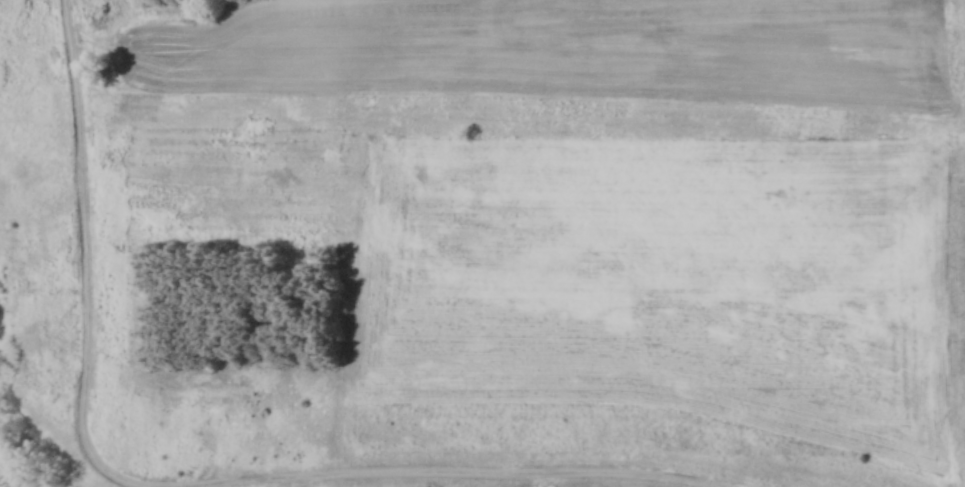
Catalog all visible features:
crop: (557, 52)
park: (482, 243)
road: (88, 251)
crop: (664, 281)
road: (452, 475)

